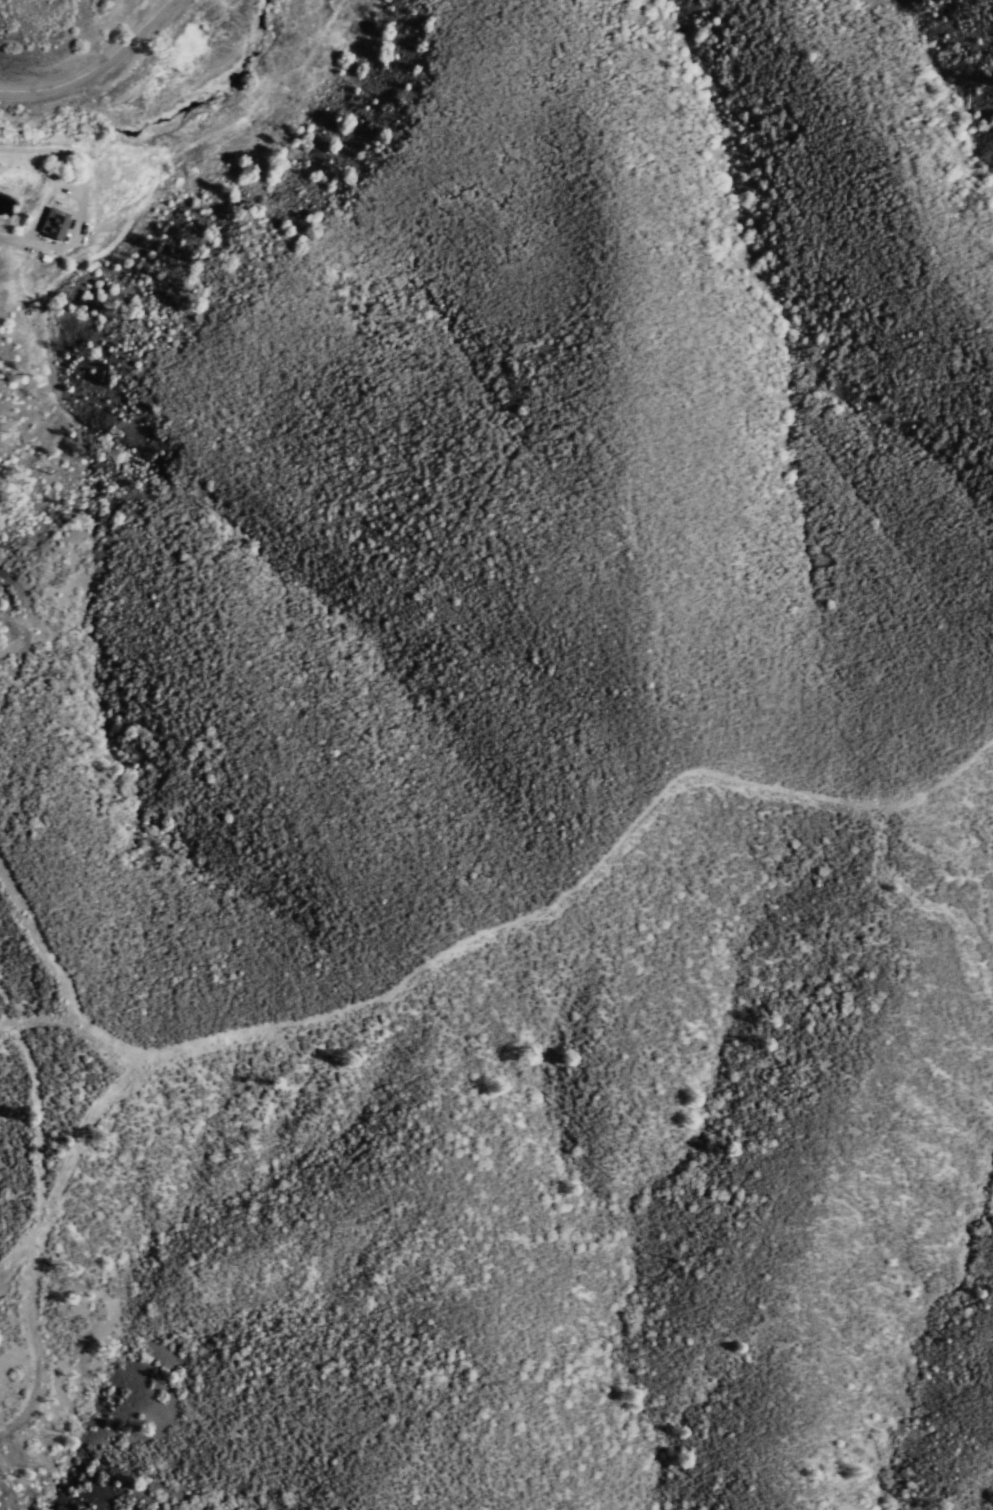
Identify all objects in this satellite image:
road: (147, 3)
road: (89, 66)
building: (53, 224)

